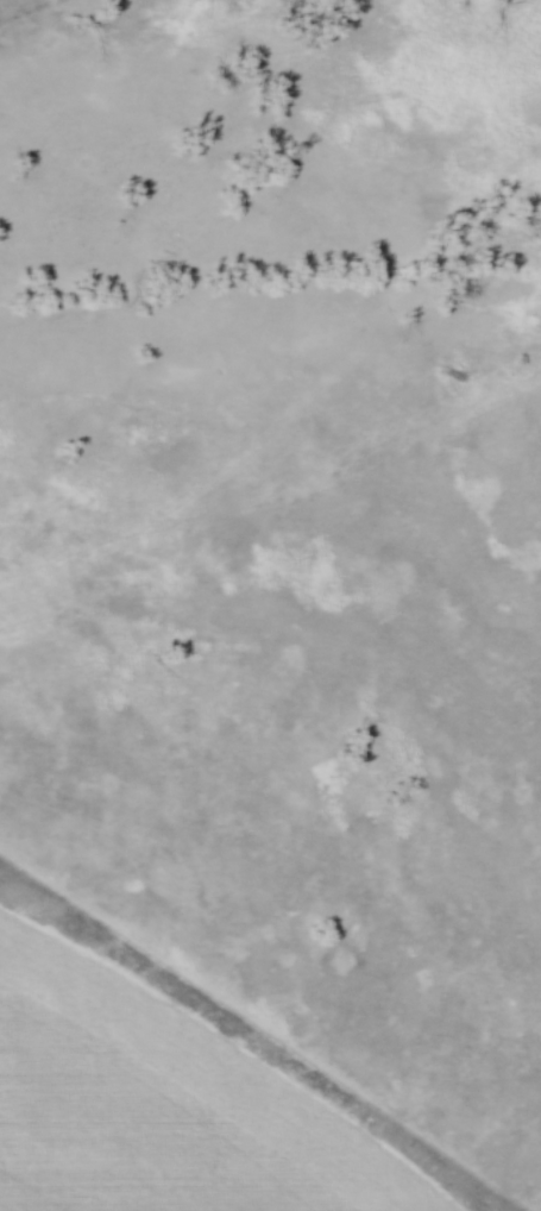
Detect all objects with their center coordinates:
crop: (169, 1109)

